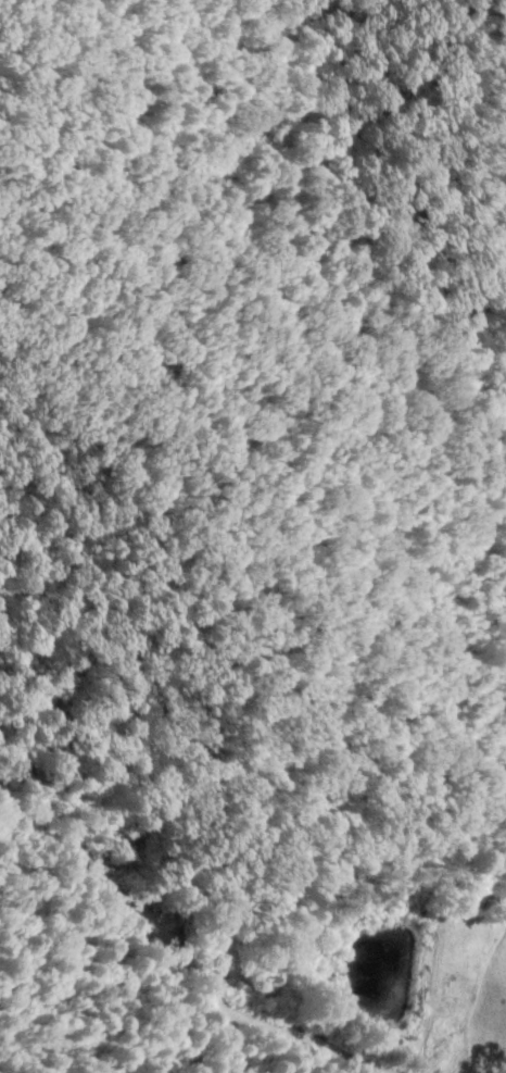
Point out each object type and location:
road: (343, 1061)

